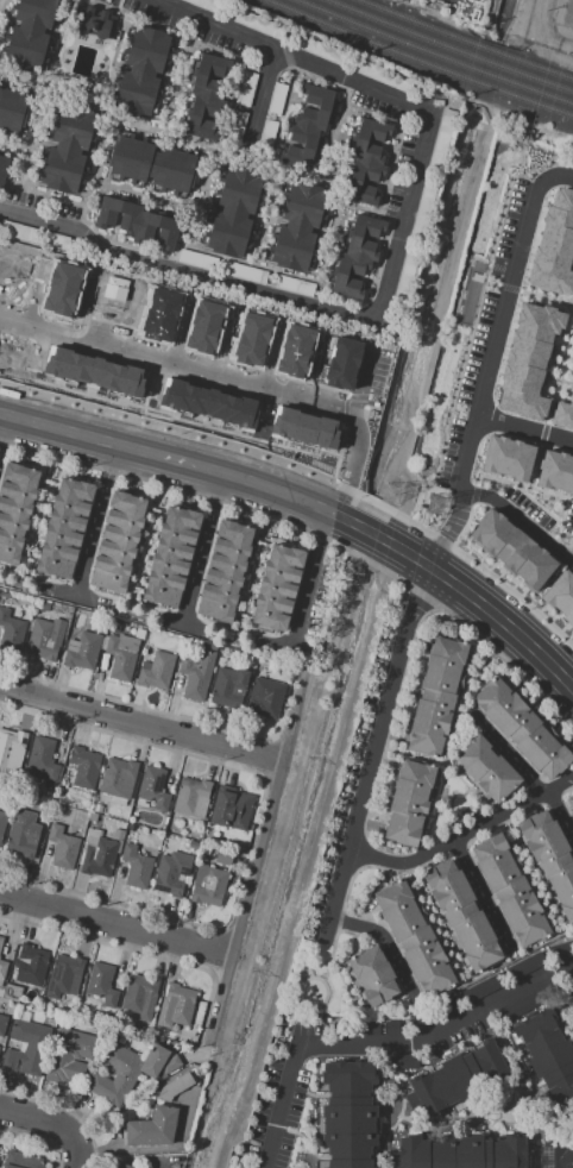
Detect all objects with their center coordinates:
road: (0, 2)
road: (461, 2)
power substation: (562, 18)
building: (94, 21)
building: (32, 30)
railway: (464, 40)
road: (56, 43)
building: (313, 46)
railway: (448, 48)
road: (114, 54)
railway: (433, 54)
railway: (417, 62)
building: (144, 65)
building: (377, 74)
road: (177, 75)
building: (204, 87)
building: (245, 88)
road: (262, 96)
building: (276, 98)
building: (13, 111)
building: (309, 124)
building: (237, 125)
road: (333, 127)
building: (266, 133)
building: (441, 138)
road: (208, 145)
road: (14, 146)
road: (247, 150)
building: (68, 151)
road: (29, 155)
building: (366, 161)
building: (152, 165)
building: (2, 169)
road: (93, 174)
road: (146, 195)
building: (234, 212)
road: (267, 216)
road: (200, 218)
building: (137, 220)
building: (417, 220)
building: (298, 226)
building: (18, 230)
building: (554, 246)
building: (357, 256)
road: (326, 257)
building: (194, 258)
road: (258, 264)
road: (397, 266)
building: (244, 271)
building: (404, 275)
building: (294, 284)
road: (524, 293)
road: (43, 295)
road: (568, 306)
building: (164, 318)
road: (568, 322)
building: (215, 331)
road: (184, 335)
road: (568, 338)
building: (259, 343)
road: (464, 352)
building: (308, 354)
road: (562, 356)
road: (490, 357)
road: (278, 359)
building: (528, 359)
road: (549, 360)
building: (352, 365)
road: (560, 365)
building: (100, 373)
road: (558, 378)
road: (234, 379)
road: (374, 384)
building: (214, 403)
building: (563, 409)
road: (546, 420)
road: (524, 427)
building: (311, 428)
road: (4, 429)
road: (226, 447)
road: (153, 453)
building: (508, 457)
building: (555, 471)
road: (502, 481)
power tower: (392, 494)
road: (216, 497)
road: (536, 502)
power tower: (435, 505)
building: (15, 509)
road: (518, 519)
road: (38, 520)
road: (96, 520)
building: (64, 527)
road: (369, 530)
road: (572, 536)
building: (118, 544)
road: (145, 547)
road: (206, 548)
building: (511, 548)
building: (171, 557)
road: (572, 560)
building: (225, 570)
road: (250, 577)
road: (19, 583)
road: (310, 583)
building: (277, 586)
road: (510, 590)
building: (5, 594)
building: (561, 595)
road: (73, 596)
building: (46, 605)
road: (133, 611)
road: (492, 611)
road: (182, 623)
building: (114, 627)
building: (11, 629)
road: (227, 636)
building: (45, 638)
building: (210, 646)
road: (271, 647)
building: (82, 651)
building: (121, 657)
road: (498, 659)
building: (156, 671)
building: (197, 674)
road: (562, 676)
building: (228, 686)
building: (437, 696)
building: (265, 698)
road: (153, 709)
road: (141, 723)
building: (522, 728)
road: (449, 746)
building: (12, 747)
road: (372, 752)
road: (409, 754)
road: (267, 755)
building: (44, 758)
building: (84, 766)
building: (486, 768)
road: (525, 771)
building: (118, 777)
road: (465, 784)
building: (153, 787)
building: (190, 795)
building: (117, 800)
building: (143, 802)
building: (409, 802)
road: (485, 802)
building: (571, 802)
building: (99, 808)
building: (233, 810)
building: (572, 815)
building: (53, 816)
building: (94, 817)
building: (92, 823)
building: (2, 824)
road: (429, 824)
building: (132, 828)
building: (24, 834)
building: (119, 834)
road: (253, 834)
road: (462, 835)
building: (63, 847)
building: (206, 849)
building: (46, 853)
building: (97, 854)
building: (225, 855)
road: (258, 856)
building: (550, 858)
building: (137, 866)
road: (529, 872)
building: (168, 875)
building: (209, 886)
building: (510, 890)
road: (483, 893)
building: (462, 916)
road: (433, 919)
road: (115, 925)
building: (414, 938)
road: (384, 940)
building: (1, 941)
building: (559, 949)
road: (138, 952)
building: (31, 965)
building: (524, 965)
building: (2, 969)
building: (64, 977)
building: (371, 977)
building: (100, 980)
building: (481, 987)
building: (1, 992)
building: (12, 992)
building: (140, 992)
building: (30, 994)
building: (572, 994)
building: (177, 1004)
building: (516, 1006)
road: (559, 1009)
building: (36, 1017)
building: (416, 1021)
building: (2, 1025)
building: (366, 1028)
building: (390, 1028)
road: (380, 1043)
building: (0, 1048)
building: (26, 1048)
building: (547, 1050)
building: (69, 1055)
road: (512, 1057)
building: (403, 1060)
building: (158, 1062)
building: (125, 1074)
building: (460, 1078)
building: (176, 1086)
road: (402, 1103)
road: (65, 1110)
building: (348, 1113)
road: (484, 1116)
road: (49, 1122)
building: (153, 1128)
road: (40, 1135)
building: (461, 1151)
building: (556, 1155)
building: (23, 1161)
road: (76, 1163)
building: (124, 1166)

